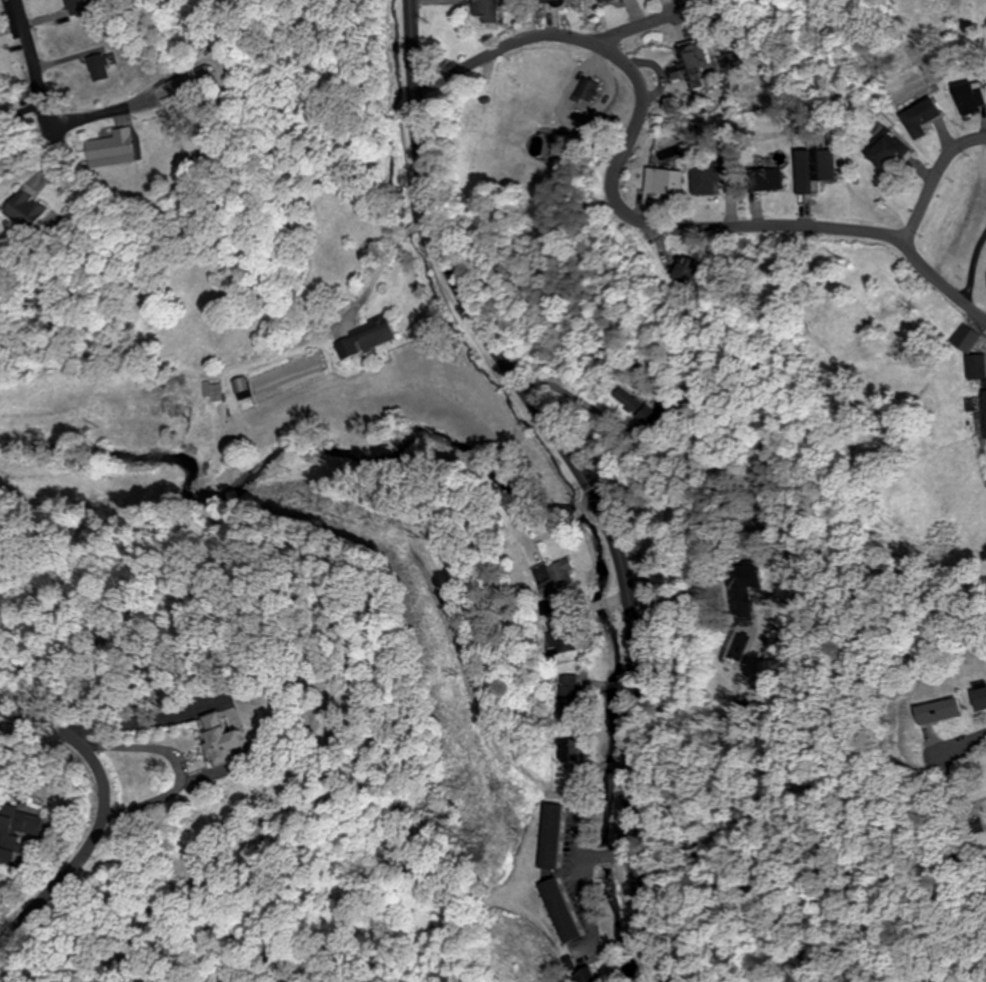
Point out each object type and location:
building: (77, 6)
building: (485, 10)
road: (542, 34)
road: (30, 60)
building: (695, 60)
building: (99, 67)
building: (186, 82)
building: (969, 97)
building: (919, 116)
building: (109, 146)
building: (883, 149)
building: (812, 168)
building: (708, 176)
building: (766, 178)
road: (933, 179)
building: (662, 182)
road: (667, 225)
building: (683, 269)
road: (943, 282)
building: (362, 337)
building: (965, 338)
building: (975, 366)
building: (239, 387)
building: (984, 407)
road: (581, 475)
building: (978, 697)
building: (936, 709)
building: (221, 735)
road: (965, 741)
road: (99, 811)
building: (8, 841)

